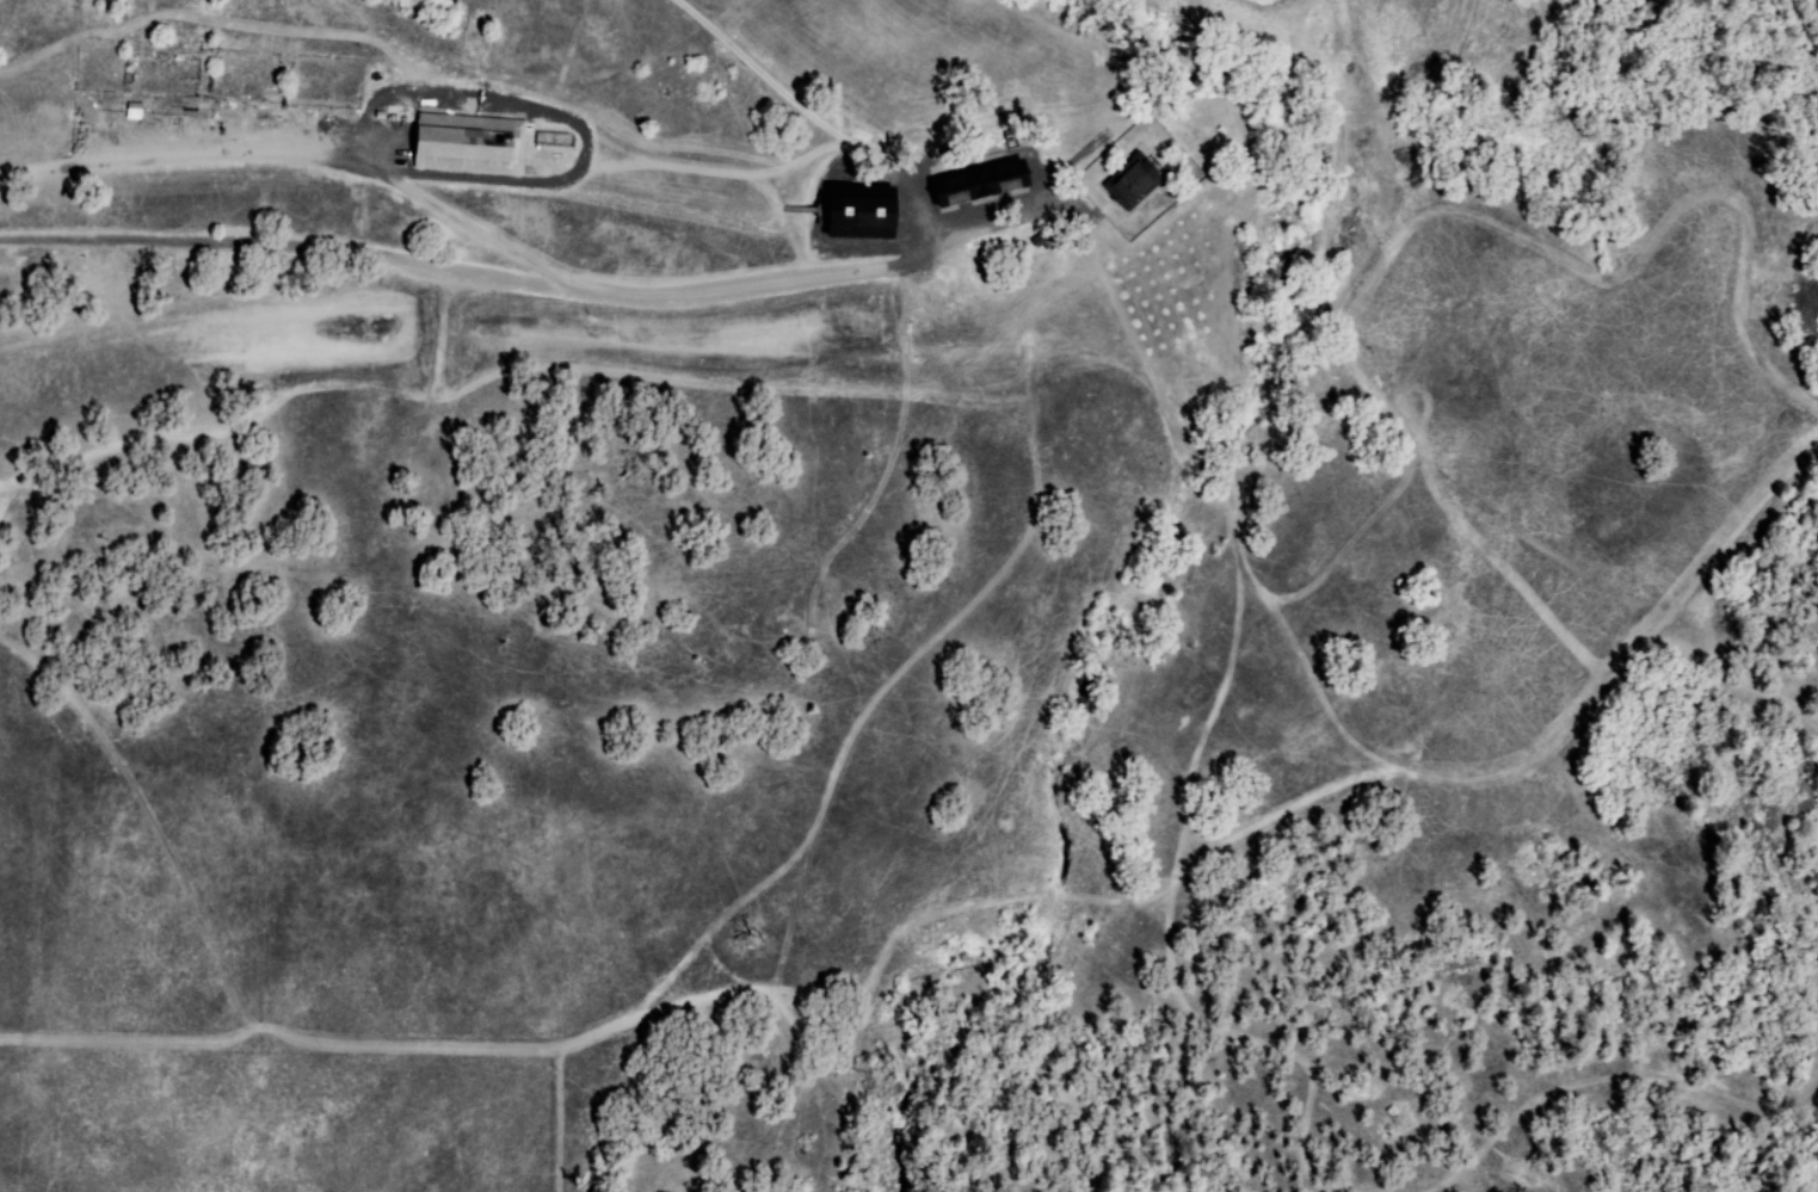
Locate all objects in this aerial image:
building: (463, 144)
building: (972, 184)
building: (1128, 184)
building: (852, 214)
road: (603, 295)

